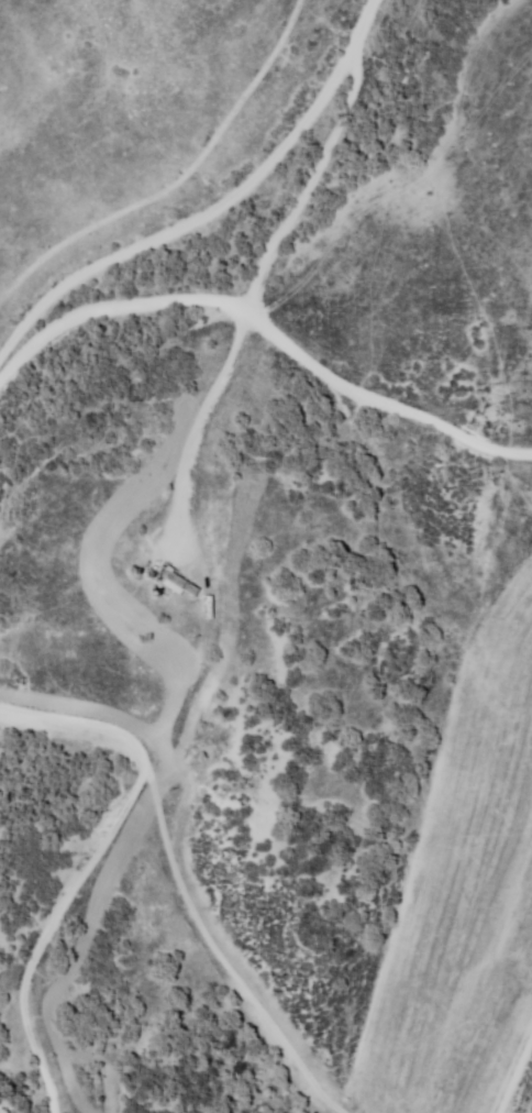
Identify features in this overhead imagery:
road: (221, 203)
road: (254, 293)
road: (119, 307)
road: (375, 404)
building: (174, 580)
road: (89, 857)

